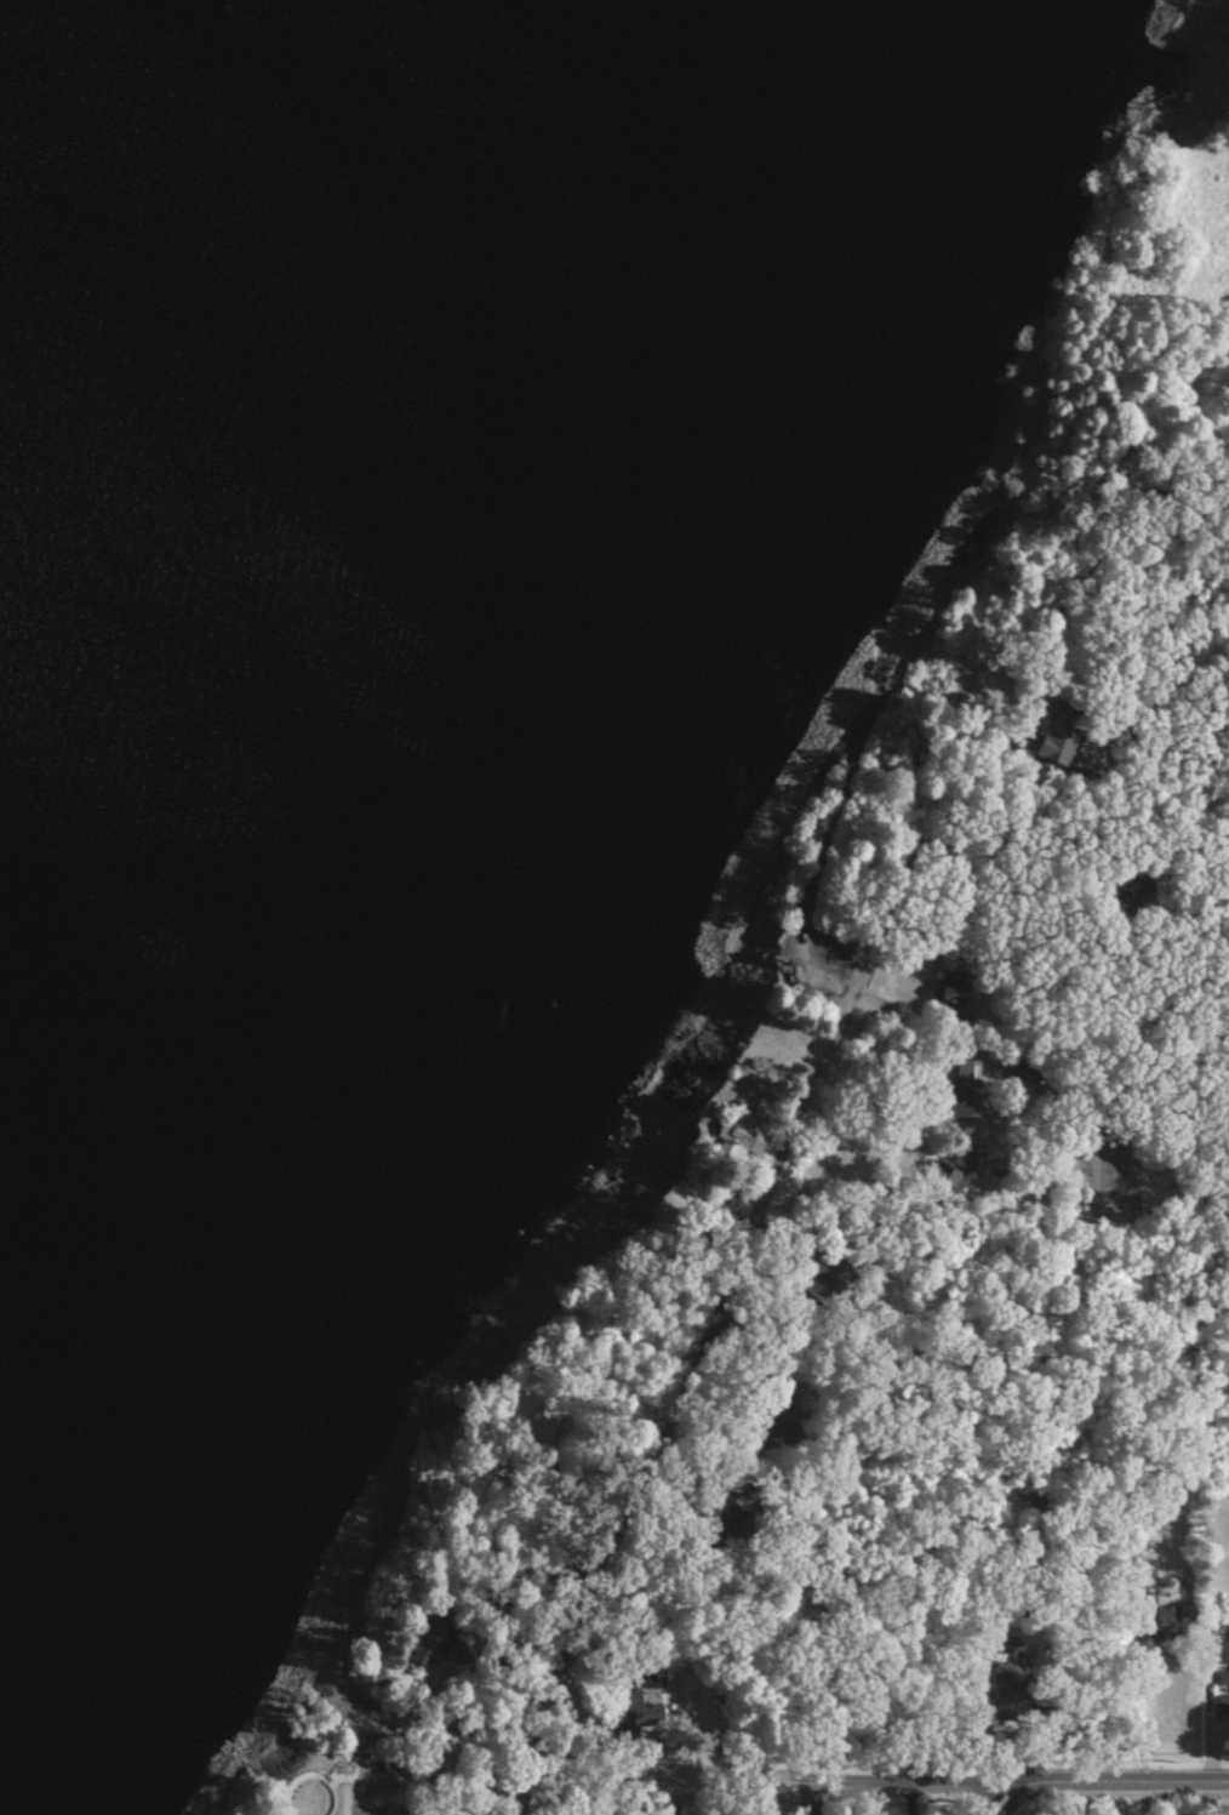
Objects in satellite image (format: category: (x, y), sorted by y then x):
building: (1050, 746)
road: (1093, 809)
road: (1025, 833)
road: (884, 1054)
building: (958, 1072)
building: (950, 1107)
building: (732, 1138)
building: (941, 1178)
road: (711, 1313)
building: (1137, 1573)
building: (1219, 1661)
road: (1132, 1699)
building: (1214, 1702)
building: (628, 1713)
road: (1202, 1714)
road: (1111, 1781)
road: (582, 1791)
road: (994, 1798)
road: (354, 1804)
road: (411, 1804)

